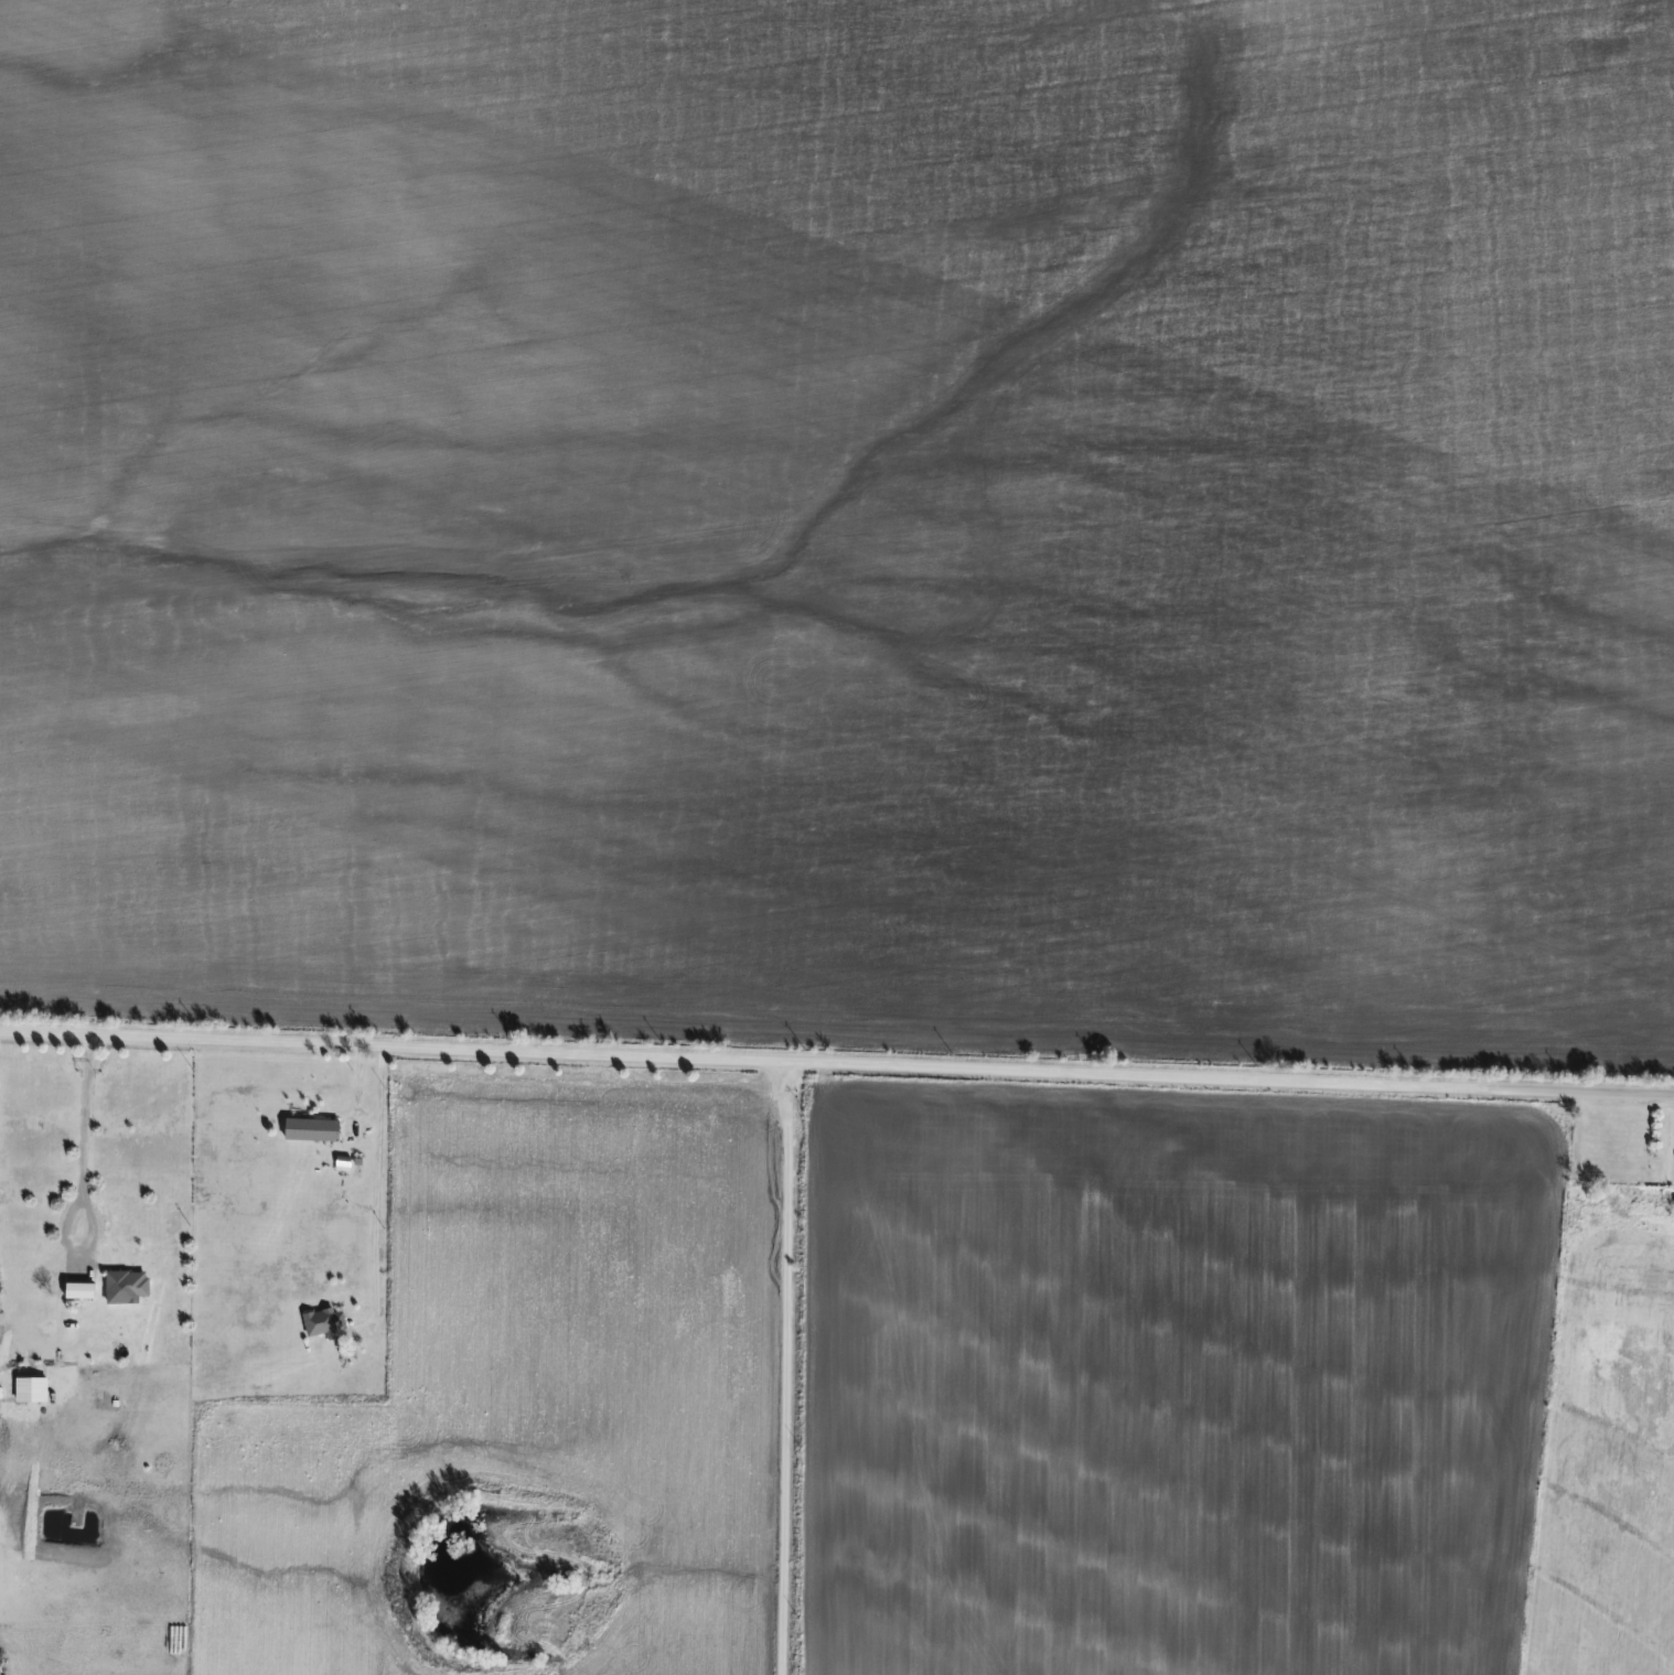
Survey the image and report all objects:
road: (836, 1062)
road: (88, 1115)
building: (310, 1128)
building: (348, 1130)
road: (378, 1184)
building: (126, 1282)
building: (77, 1290)
building: (324, 1322)
road: (788, 1367)
building: (43, 1385)

